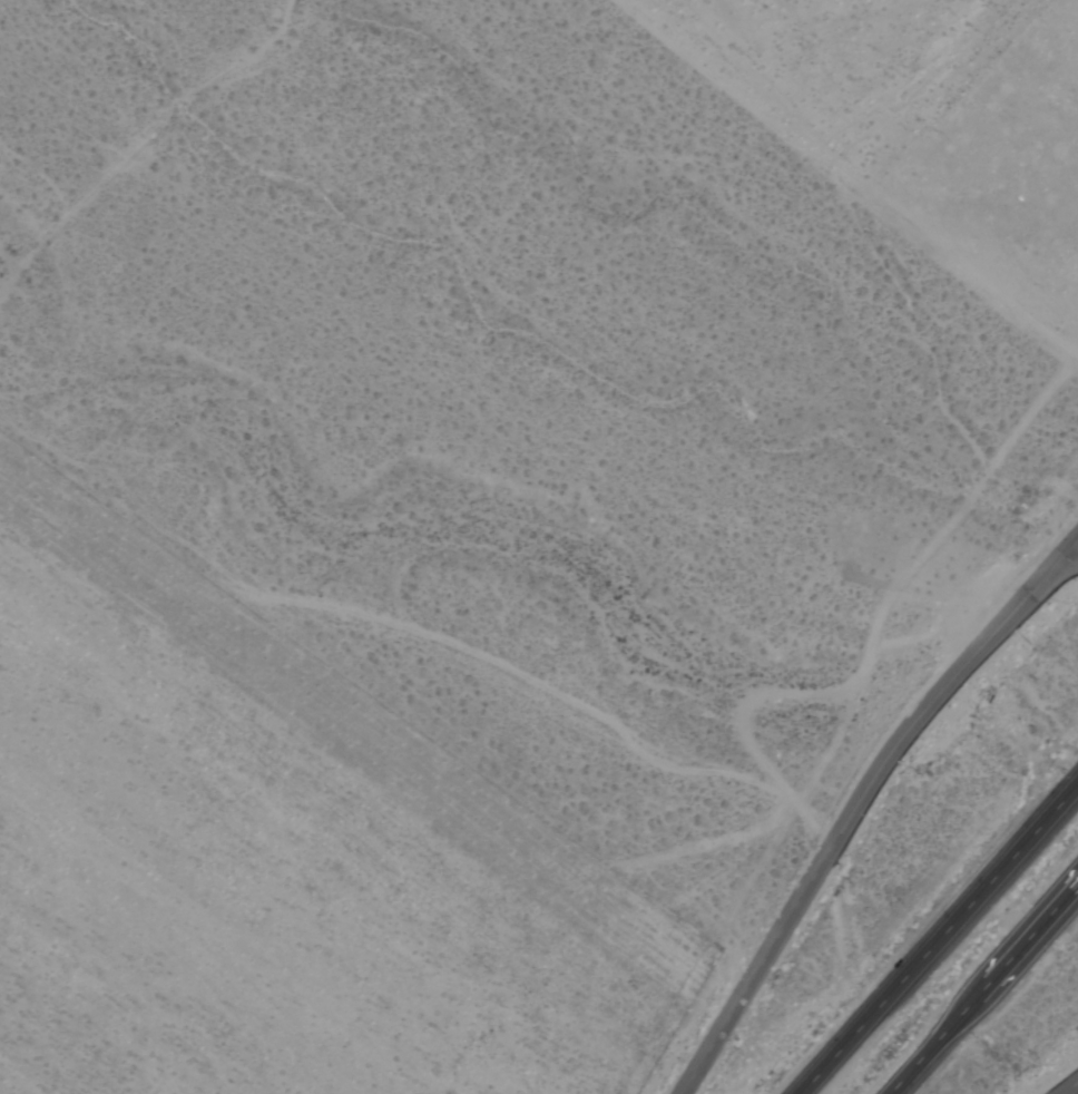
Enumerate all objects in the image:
road: (859, 801)
road: (940, 939)
road: (984, 989)
road: (1070, 1088)

